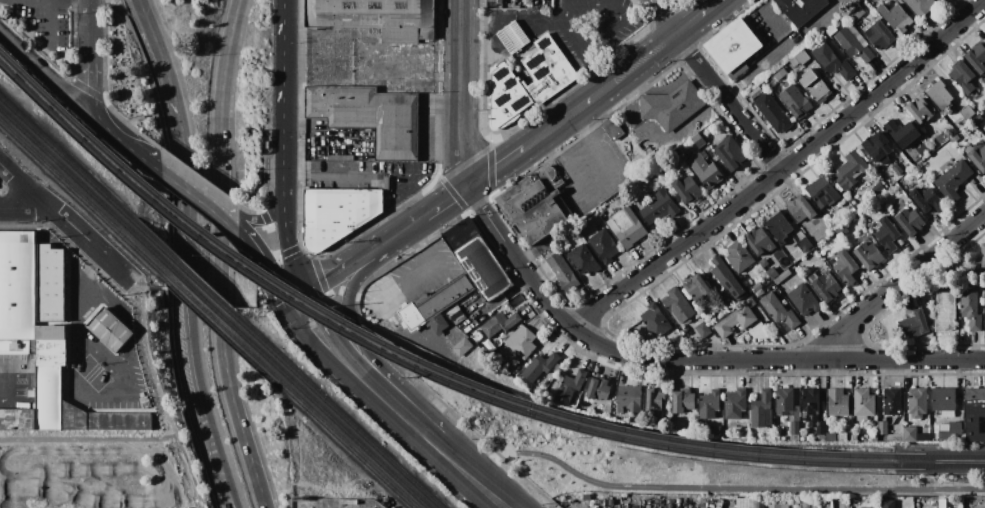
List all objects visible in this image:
building: (489, 0)
building: (939, 0)
road: (88, 1)
building: (500, 2)
building: (529, 2)
building: (920, 6)
building: (800, 9)
road: (564, 11)
building: (856, 13)
building: (376, 17)
road: (665, 17)
road: (766, 18)
building: (895, 18)
road: (144, 19)
road: (48, 25)
road: (610, 27)
building: (827, 32)
road: (88, 34)
building: (879, 35)
building: (853, 43)
building: (731, 46)
road: (656, 49)
building: (802, 58)
building: (977, 58)
building: (832, 62)
road: (594, 67)
road: (43, 68)
building: (737, 71)
building: (779, 74)
building: (525, 75)
building: (963, 78)
building: (814, 85)
road: (87, 88)
road: (463, 92)
building: (938, 95)
building: (795, 102)
road: (284, 103)
road: (727, 103)
building: (671, 106)
building: (920, 110)
building: (772, 112)
building: (966, 113)
building: (370, 117)
road: (120, 119)
road: (103, 126)
building: (611, 128)
building: (902, 133)
building: (942, 136)
building: (954, 138)
building: (697, 140)
road: (532, 141)
road: (657, 145)
building: (877, 148)
road: (140, 152)
building: (730, 154)
building: (703, 155)
building: (977, 155)
building: (683, 157)
railway: (67, 163)
road: (490, 169)
building: (896, 170)
building: (705, 171)
road: (779, 171)
building: (850, 171)
road: (327, 174)
building: (916, 174)
railway: (67, 175)
road: (197, 176)
road: (183, 179)
building: (952, 180)
railway: (67, 189)
road: (605, 189)
building: (686, 189)
building: (821, 193)
road: (451, 194)
road: (413, 196)
road: (447, 199)
building: (927, 200)
building: (536, 204)
road: (221, 206)
building: (659, 208)
building: (799, 209)
road: (26, 210)
road: (251, 211)
road: (221, 212)
building: (853, 212)
building: (336, 214)
road: (218, 215)
road: (260, 219)
building: (909, 222)
road: (66, 223)
building: (778, 226)
building: (626, 227)
building: (841, 231)
building: (886, 235)
road: (393, 236)
building: (759, 241)
road: (166, 242)
building: (565, 243)
building: (603, 245)
building: (804, 245)
road: (287, 251)
building: (822, 253)
road: (378, 254)
road: (309, 255)
building: (868, 256)
building: (983, 256)
building: (738, 257)
building: (476, 259)
building: (583, 260)
road: (261, 263)
building: (825, 263)
building: (845, 269)
building: (969, 272)
building: (562, 273)
road: (187, 274)
road: (329, 274)
road: (424, 274)
building: (781, 277)
building: (812, 278)
building: (727, 282)
road: (899, 282)
building: (51, 284)
building: (696, 287)
building: (756, 287)
building: (826, 287)
railway: (205, 292)
building: (758, 293)
traffic signals: (298, 294)
road: (288, 298)
building: (803, 300)
building: (750, 302)
traffic signals: (278, 303)
building: (441, 303)
railway: (206, 304)
building: (677, 305)
building: (969, 308)
building: (778, 311)
building: (944, 312)
building: (456, 315)
building: (409, 316)
building: (710, 319)
railway: (208, 321)
building: (655, 321)
building: (734, 321)
building: (494, 325)
building: (912, 325)
building: (109, 330)
building: (703, 330)
road: (329, 337)
building: (526, 338)
road: (363, 342)
building: (52, 345)
building: (17, 346)
road: (314, 347)
building: (461, 347)
railway: (402, 356)
building: (445, 357)
road: (685, 361)
building: (29, 364)
railway: (402, 366)
building: (538, 366)
road: (155, 381)
road: (5, 382)
building: (30, 382)
road: (416, 382)
building: (569, 387)
building: (597, 389)
road: (74, 391)
building: (30, 394)
road: (377, 395)
building: (629, 399)
building: (943, 400)
building: (654, 401)
building: (682, 401)
building: (891, 401)
building: (144, 402)
building: (784, 402)
building: (863, 402)
building: (917, 402)
building: (837, 403)
building: (974, 403)
building: (709, 404)
building: (734, 404)
building: (75, 409)
building: (761, 410)
building: (812, 410)
building: (794, 415)
building: (861, 418)
building: (17, 419)
building: (944, 427)
building: (794, 428)
building: (882, 428)
road: (414, 429)
building: (715, 432)
building: (950, 432)
railway: (355, 433)
building: (909, 434)
building: (933, 435)
building: (763, 437)
building: (794, 437)
building: (830, 437)
building: (842, 437)
building: (853, 437)
building: (874, 437)
road: (88, 438)
building: (922, 438)
railway: (350, 439)
railway: (346, 448)
railway: (939, 458)
railway: (938, 468)
road: (253, 469)
road: (487, 469)
park: (97, 470)
park: (706, 474)
road: (471, 477)
road: (737, 488)
building: (585, 498)
building: (676, 502)
building: (750, 503)
building: (887, 504)
building: (930, 504)
building: (941, 504)
building: (711, 505)
building: (778, 505)
building: (806, 505)
building: (813, 505)
building: (824, 507)

